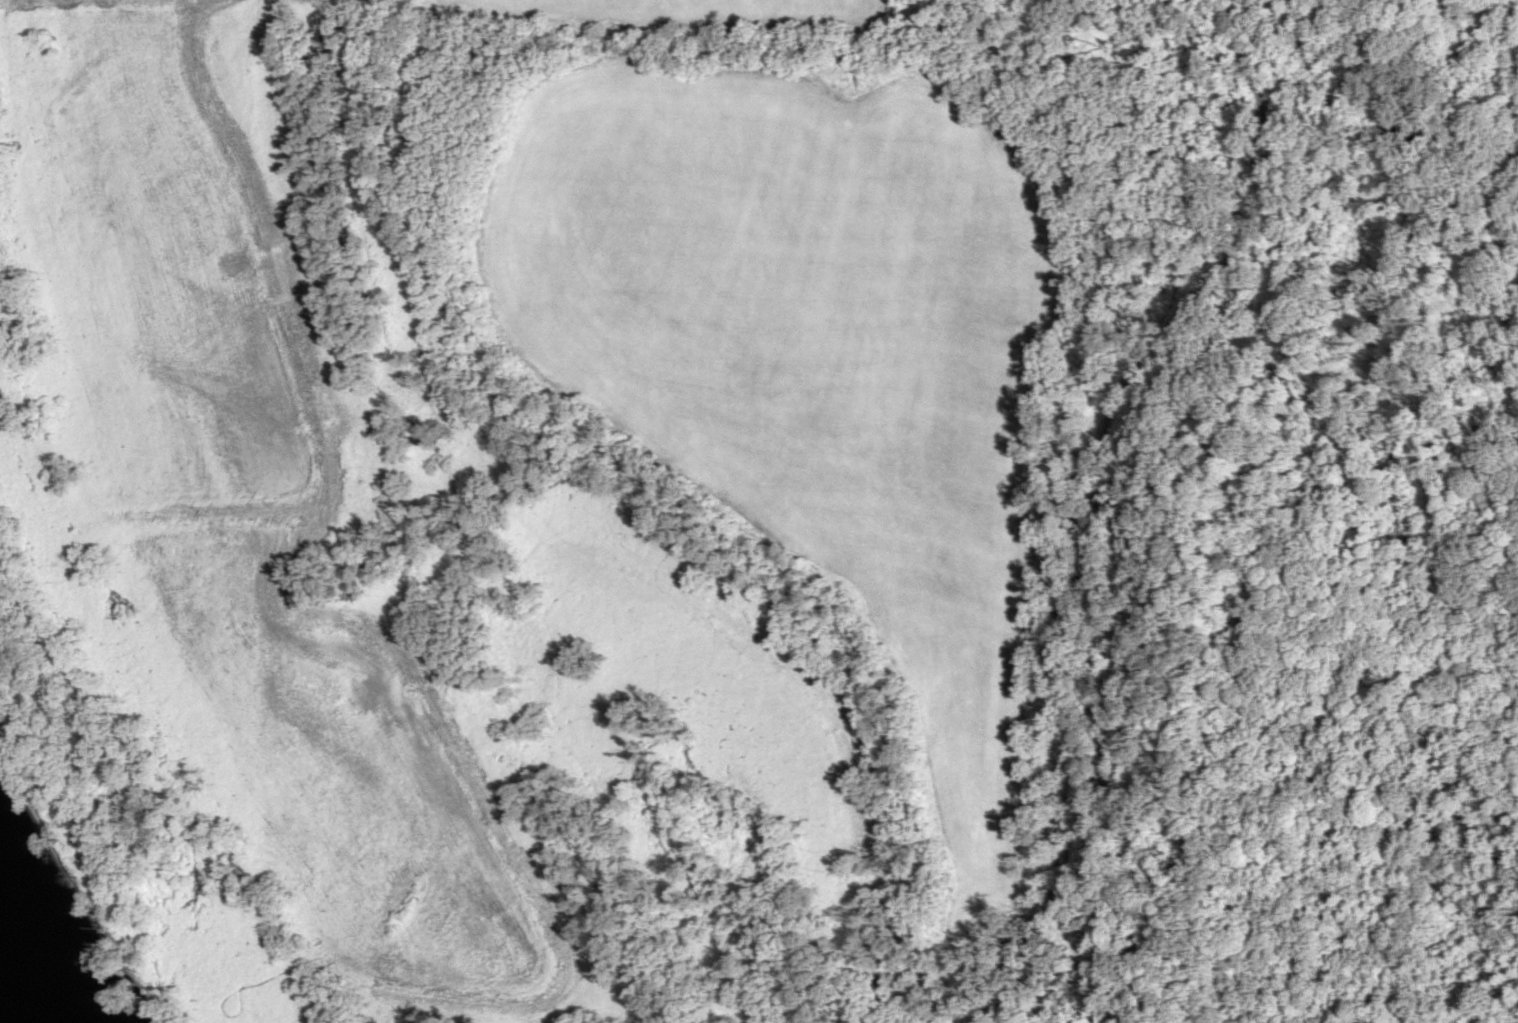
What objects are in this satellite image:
river: (30, 968)

